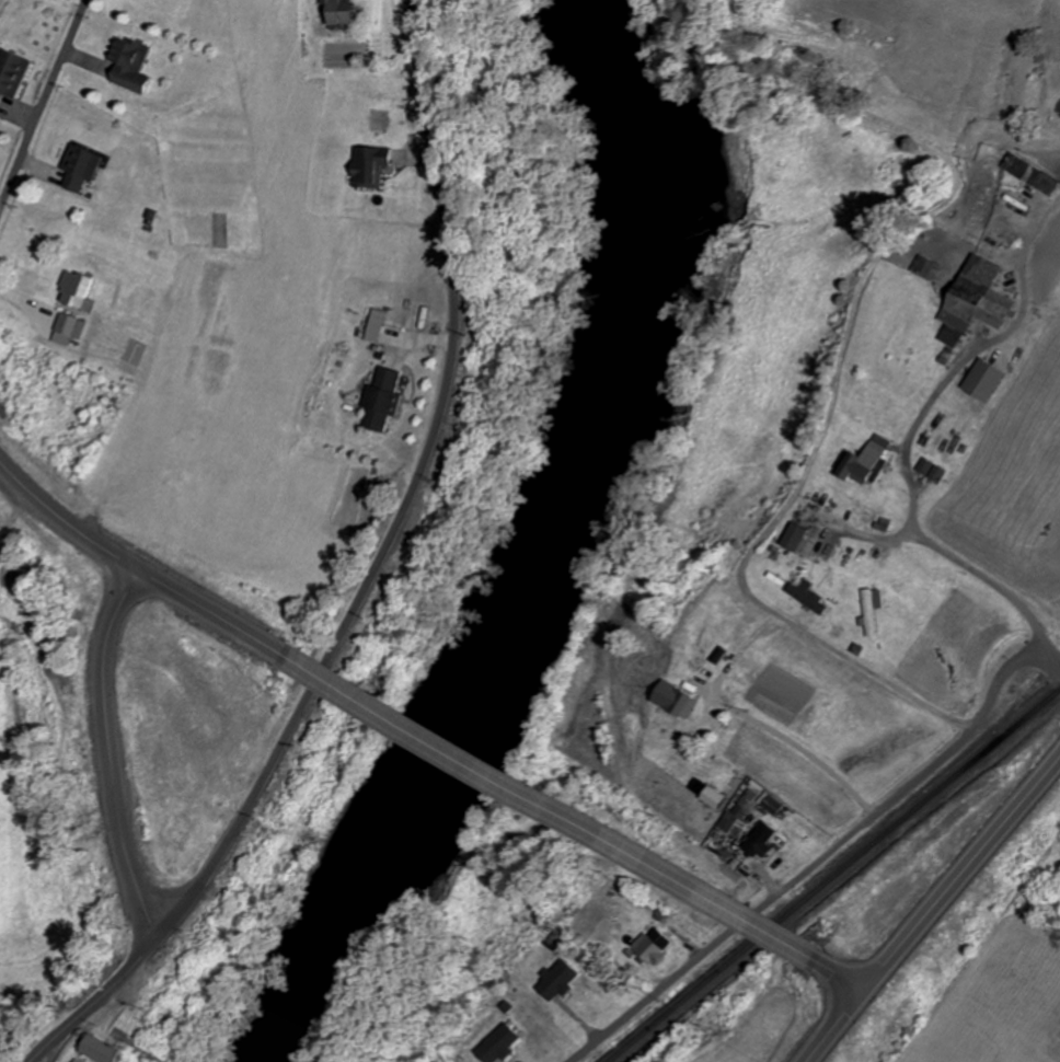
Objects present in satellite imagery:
building: (335, 13)
building: (131, 66)
building: (12, 74)
road: (45, 108)
building: (368, 168)
building: (82, 169)
building: (1026, 175)
building: (929, 268)
building: (81, 289)
building: (976, 301)
building: (71, 323)
building: (37, 384)
building: (382, 399)
building: (866, 461)
building: (795, 536)
river: (537, 558)
road: (380, 576)
road: (142, 578)
road: (988, 581)
building: (809, 597)
road: (767, 607)
building: (873, 611)
building: (727, 643)
building: (678, 702)
road: (110, 760)
building: (714, 794)
road: (554, 812)
building: (760, 839)
road: (964, 874)
railway: (834, 875)
building: (575, 902)
building: (652, 945)
road: (837, 972)
building: (557, 980)
road: (836, 1026)
building: (498, 1044)
building: (99, 1050)
building: (78, 1061)

